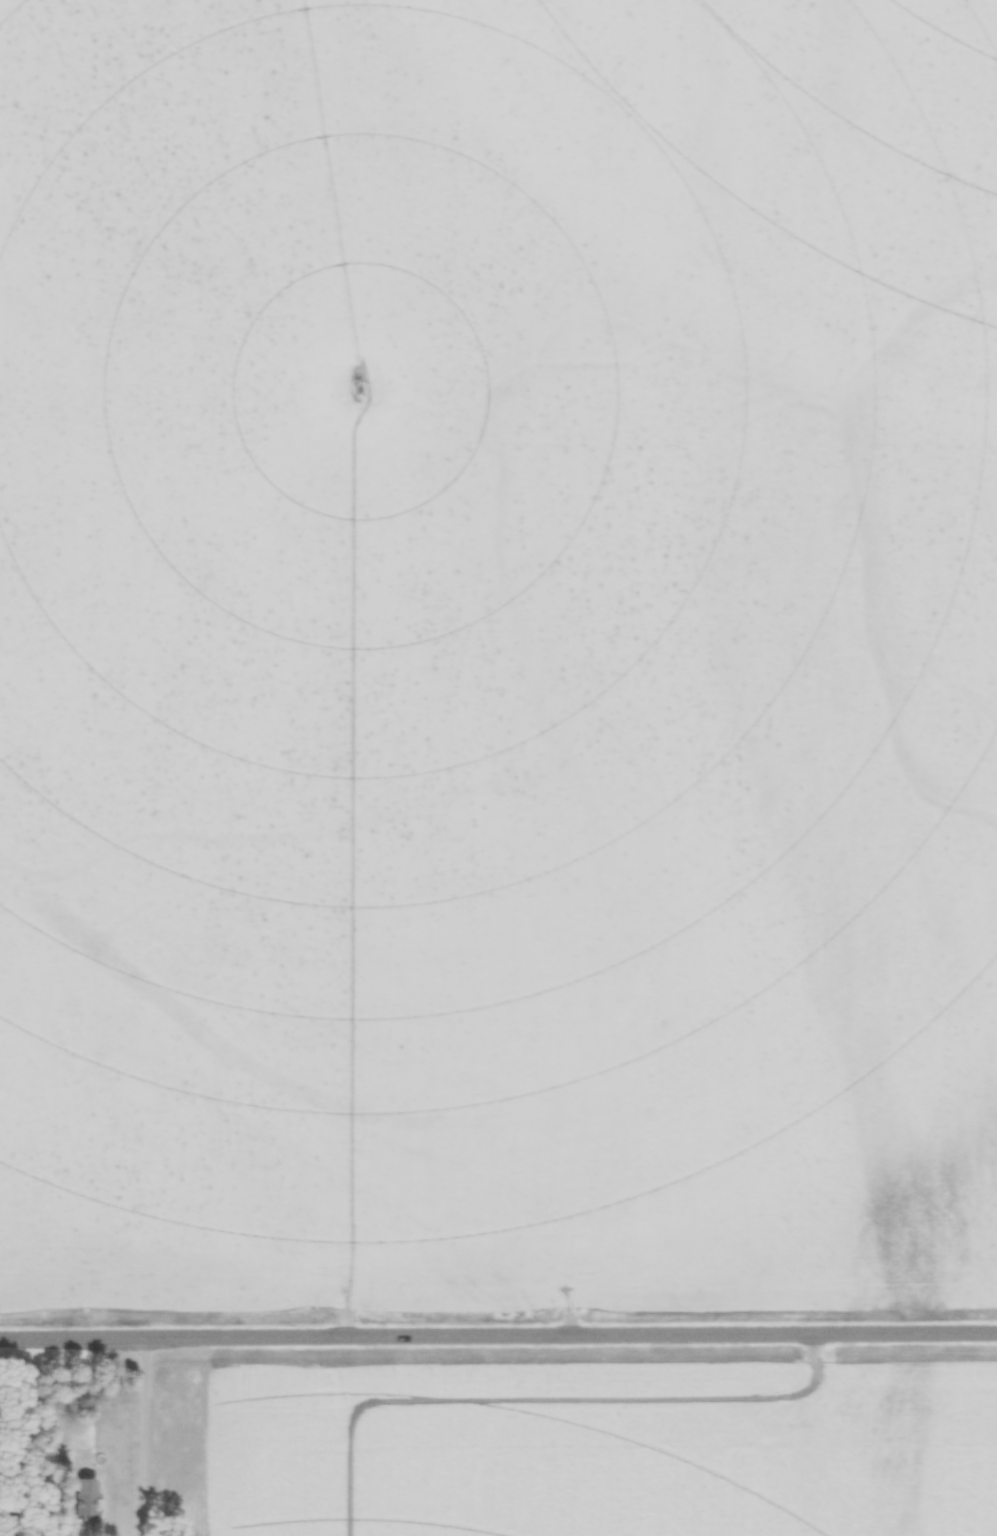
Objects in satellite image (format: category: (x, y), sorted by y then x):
road: (498, 1338)
road: (149, 1438)
building: (85, 1494)

